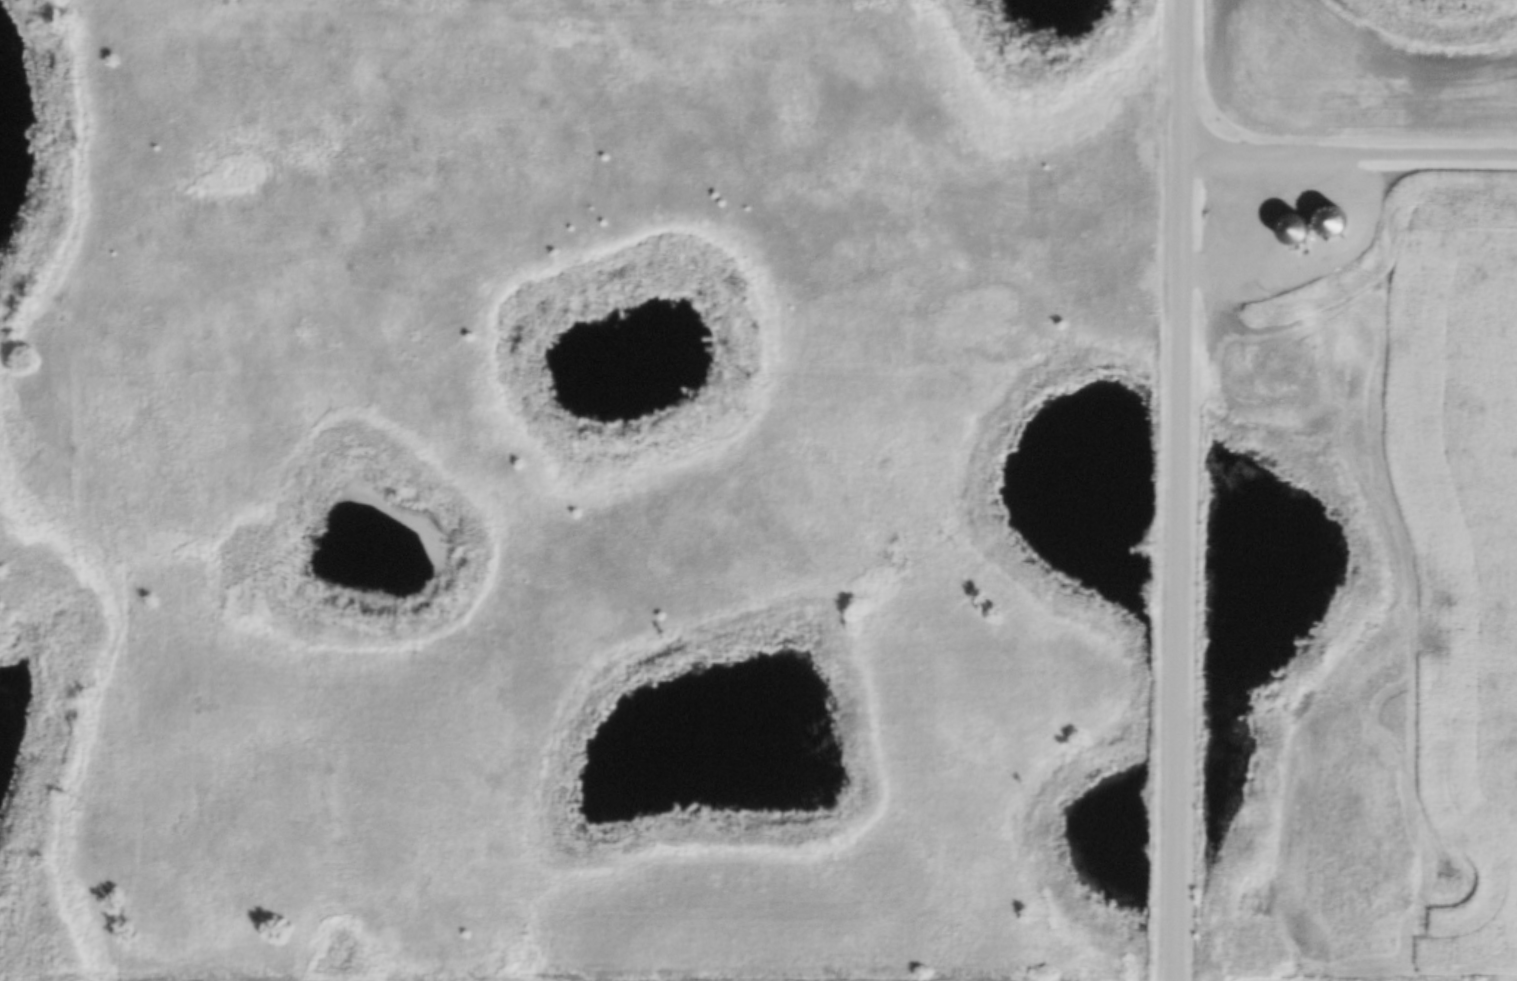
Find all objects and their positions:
road: (1354, 150)
road: (1189, 490)

